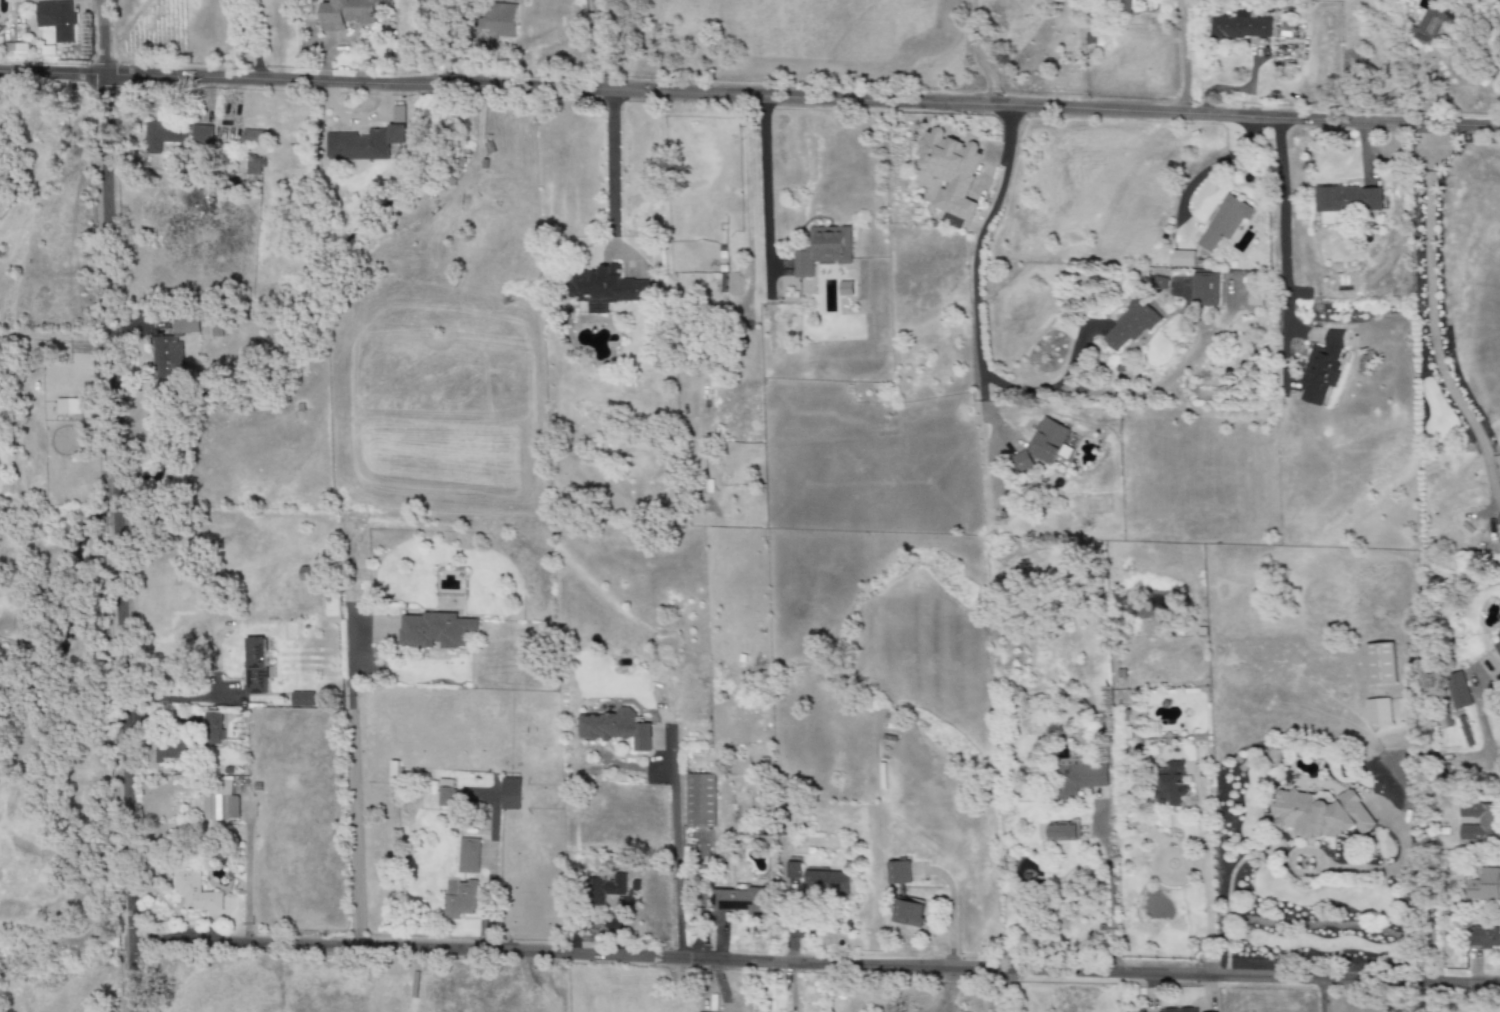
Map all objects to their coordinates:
building: (1123, 7)
building: (348, 13)
building: (55, 19)
building: (1499, 21)
building: (1432, 22)
building: (495, 25)
building: (1239, 27)
road: (254, 41)
road: (599, 47)
building: (15, 48)
road: (1485, 51)
road: (979, 54)
road: (1182, 57)
road: (212, 79)
road: (444, 89)
road: (981, 108)
building: (177, 135)
building: (254, 137)
building: (364, 144)
building: (253, 169)
building: (950, 171)
road: (1277, 171)
road: (611, 172)
road: (763, 192)
building: (1348, 199)
building: (950, 221)
building: (1224, 222)
road: (104, 225)
building: (823, 250)
building: (1183, 259)
building: (1159, 283)
building: (1204, 288)
building: (605, 289)
road: (977, 306)
road: (1428, 318)
building: (1131, 324)
building: (185, 325)
building: (166, 358)
building: (1322, 369)
building: (67, 406)
building: (1049, 441)
road: (989, 445)
road: (158, 452)
building: (1020, 463)
road: (116, 491)
building: (1498, 520)
building: (434, 630)
building: (1497, 643)
road: (46, 662)
building: (1380, 664)
building: (255, 665)
building: (1457, 691)
road: (177, 698)
building: (302, 699)
building: (1377, 711)
road: (159, 719)
building: (615, 728)
building: (212, 729)
road: (1489, 730)
building: (174, 750)
road: (1, 756)
road: (124, 771)
building: (1076, 780)
building: (1171, 784)
building: (445, 793)
building: (510, 794)
building: (699, 800)
building: (221, 804)
road: (351, 811)
building: (1320, 814)
building: (1479, 822)
building: (1062, 831)
road: (674, 848)
building: (468, 856)
building: (792, 870)
road: (488, 872)
building: (897, 872)
road: (245, 875)
building: (825, 883)
road: (1205, 883)
building: (1483, 885)
building: (604, 888)
road: (1418, 890)
building: (195, 893)
road: (1109, 893)
building: (459, 898)
building: (741, 900)
building: (908, 913)
building: (1484, 937)
road: (813, 966)
road: (1002, 992)
road: (1321, 998)
road: (1430, 1000)
building: (1179, 1010)

